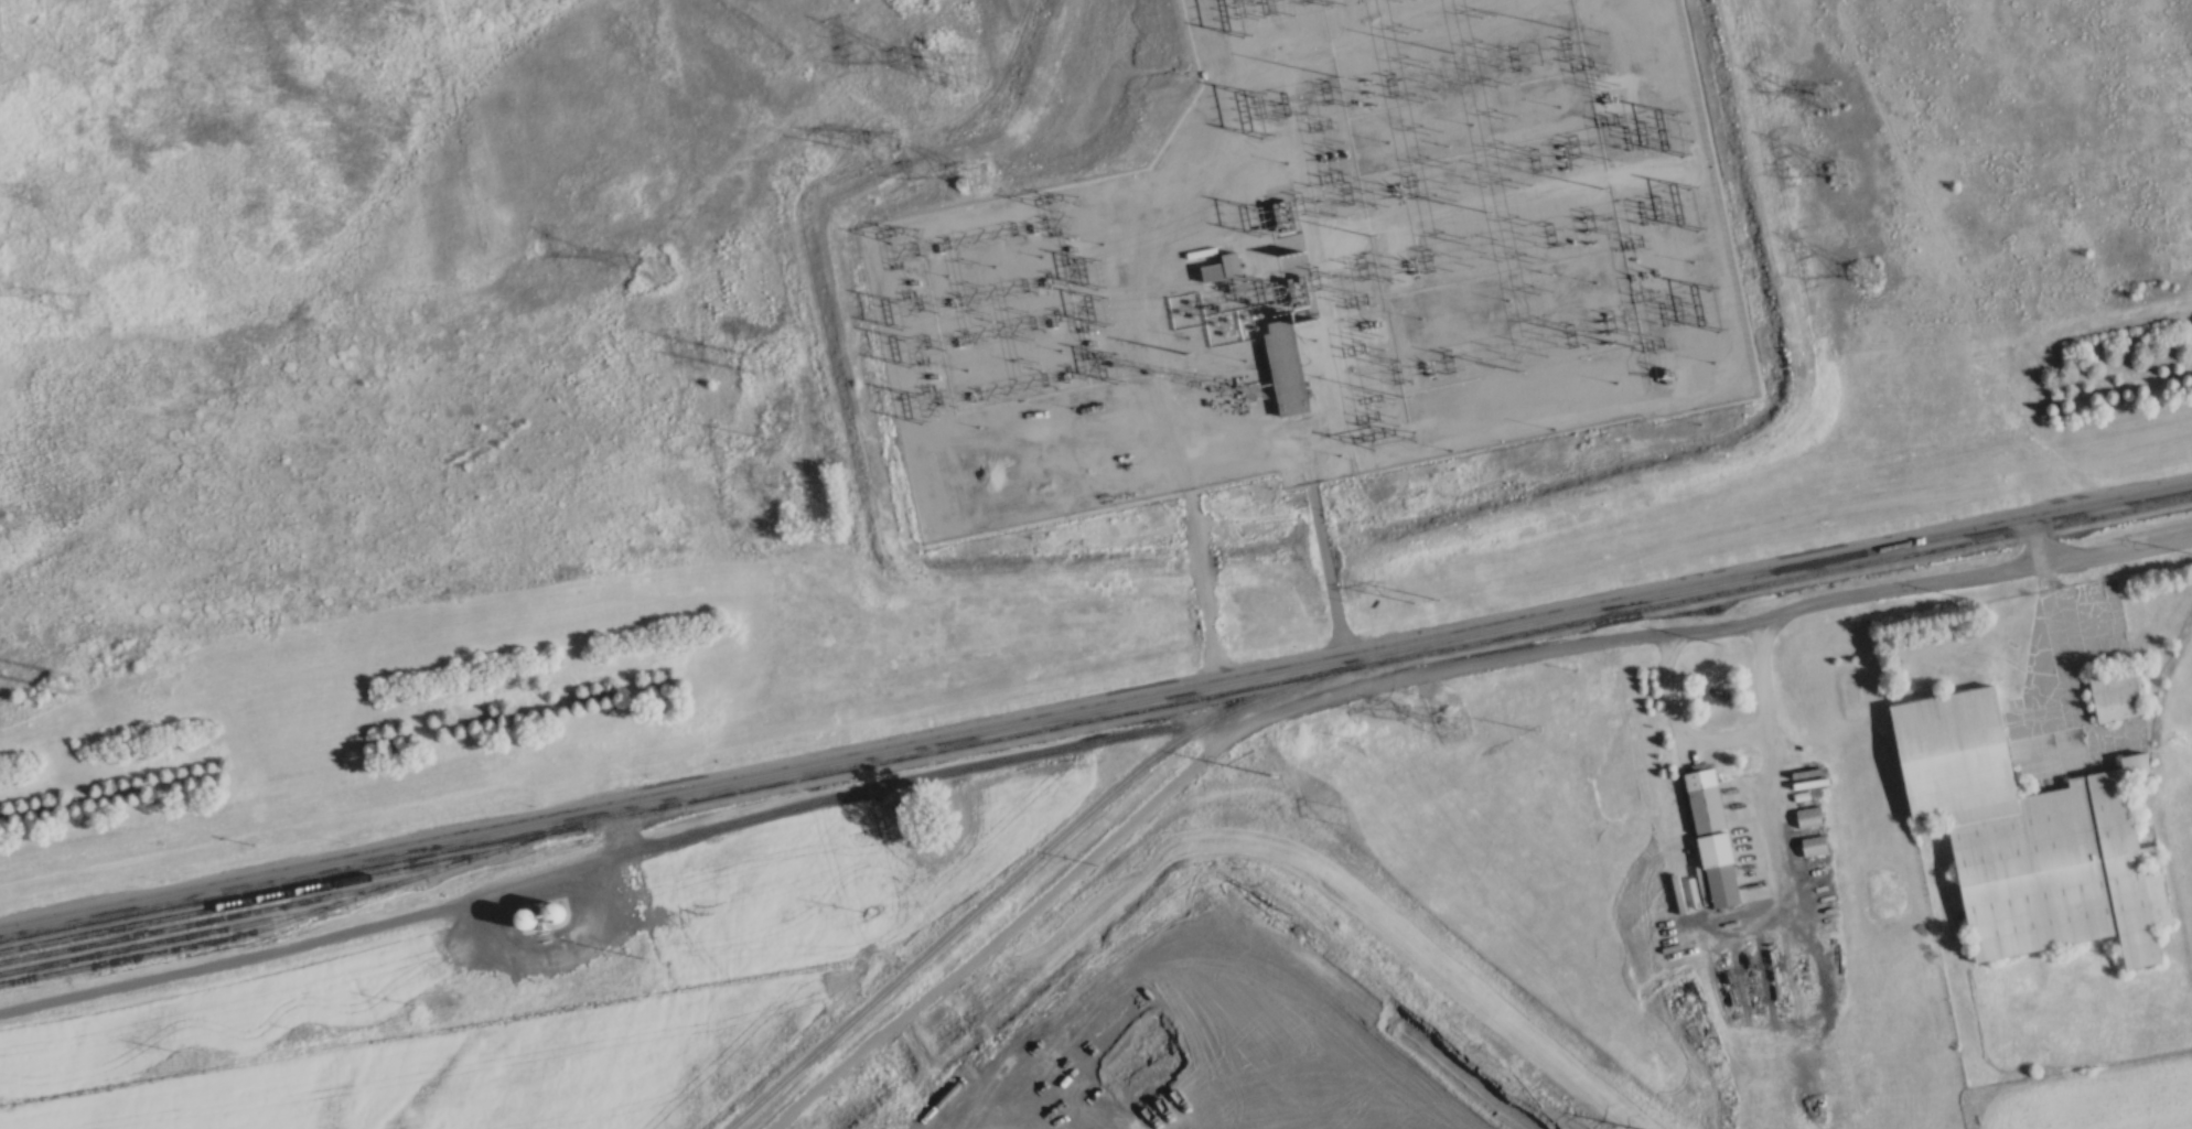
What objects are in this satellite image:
power tower: (980, 66)
power tower: (1829, 95)
power tower: (898, 129)
power tower: (991, 164)
power tower: (1845, 170)
power tower: (56, 196)
power tower: (669, 259)
power substation: (1326, 265)
building: (1217, 266)
power tower: (1866, 271)
power tower: (96, 305)
power tower: (1188, 354)
power tower: (770, 358)
building: (1280, 365)
power tower: (773, 436)
road: (2109, 494)
road: (1320, 540)
road: (2116, 547)
power tower: (1973, 594)
road: (2051, 616)
power tower: (1724, 642)
power tower: (76, 681)
building: (2113, 692)
road: (1334, 693)
road: (1769, 696)
road: (1013, 717)
railway: (1095, 722)
power tower: (1450, 723)
power tower: (1533, 729)
power tower: (1274, 774)
power tower: (1343, 814)
building: (2048, 832)
building: (1708, 836)
building: (1730, 838)
power tower: (1103, 862)
railway: (1028, 864)
power tower: (870, 911)
power tower: (643, 958)
power tower: (413, 1004)
power tower: (183, 1052)
road: (917, 1076)
road: (999, 1084)

